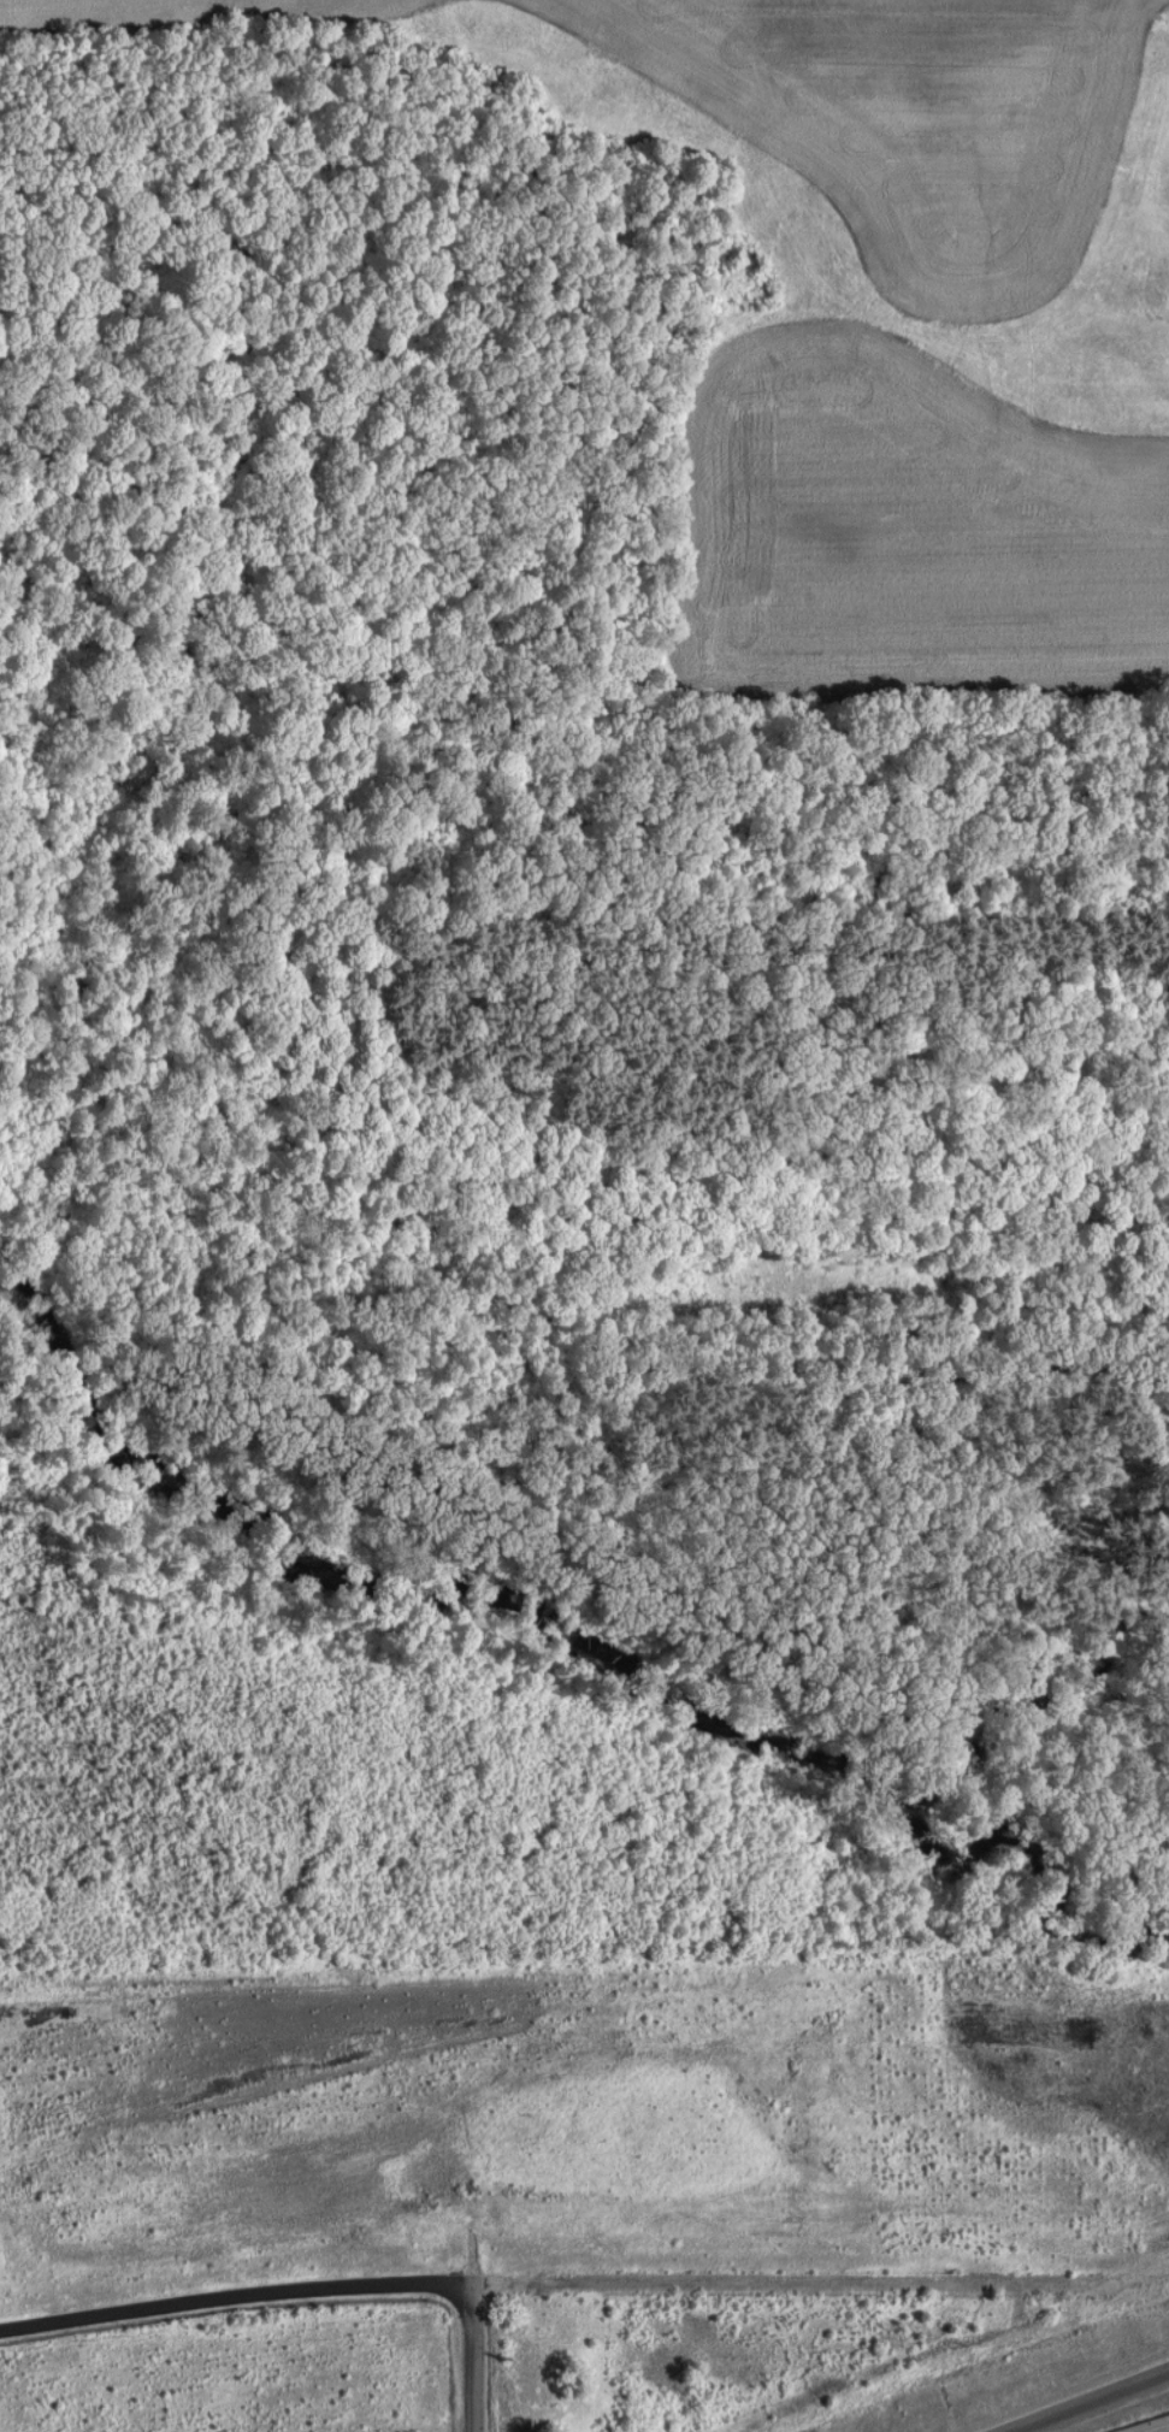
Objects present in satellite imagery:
road: (234, 2304)
road: (477, 2363)
road: (1094, 2402)
road: (1163, 2430)

